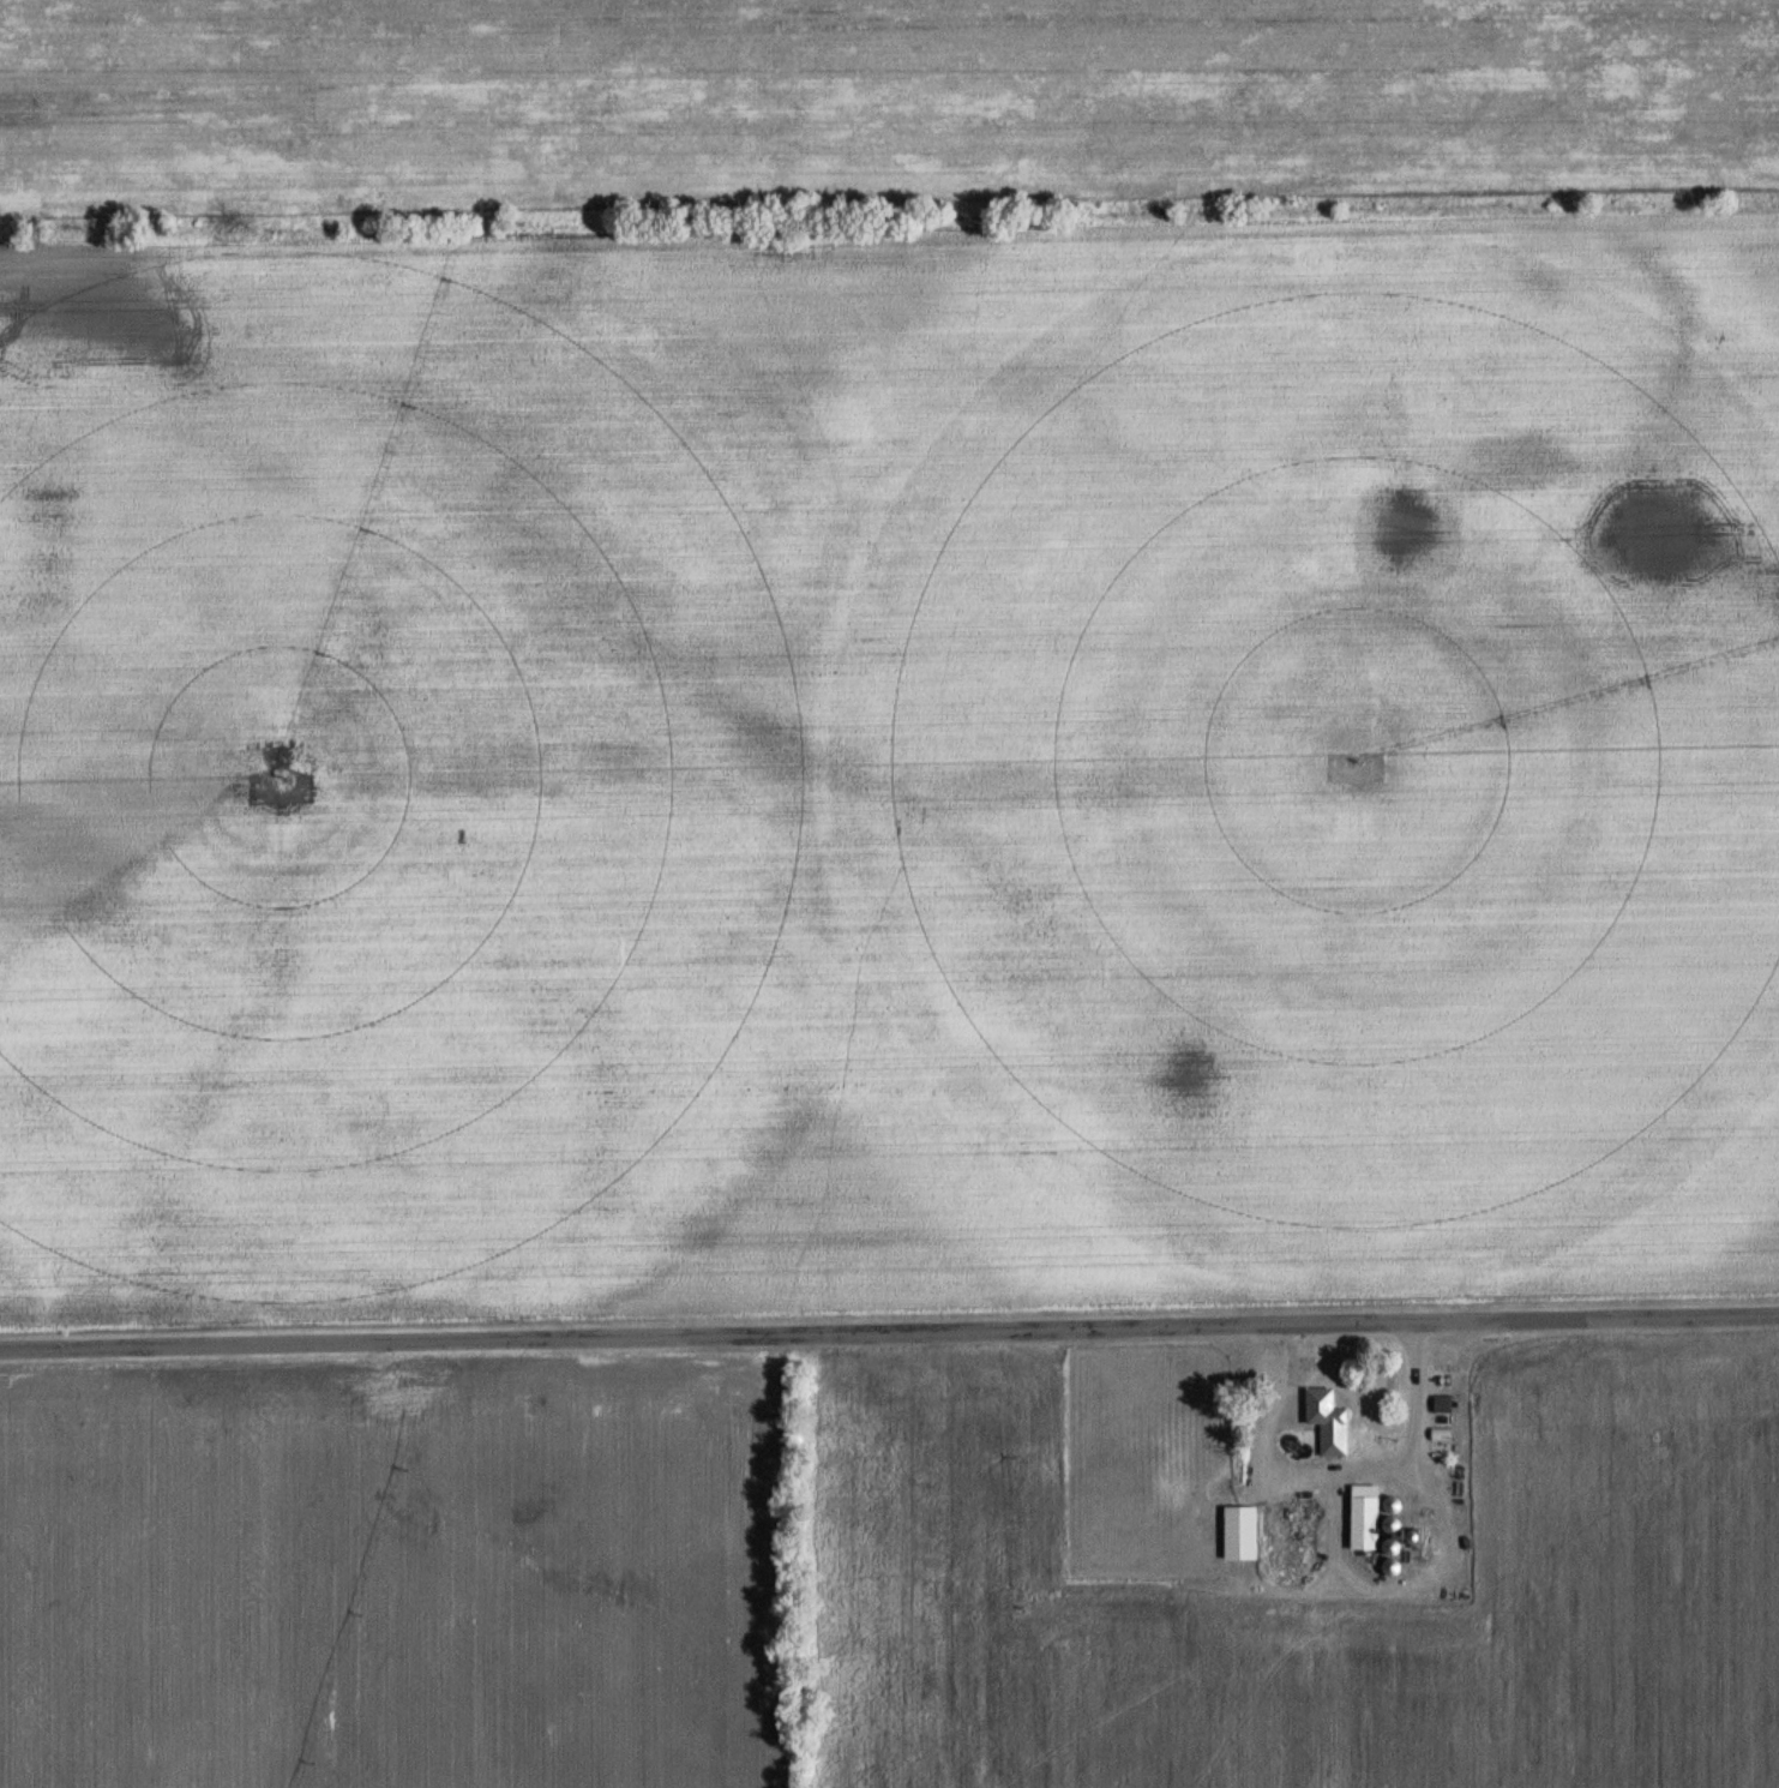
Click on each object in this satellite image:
road: (889, 1336)
building: (1441, 1405)
building: (1326, 1422)
building: (1362, 1517)
building: (1238, 1532)

